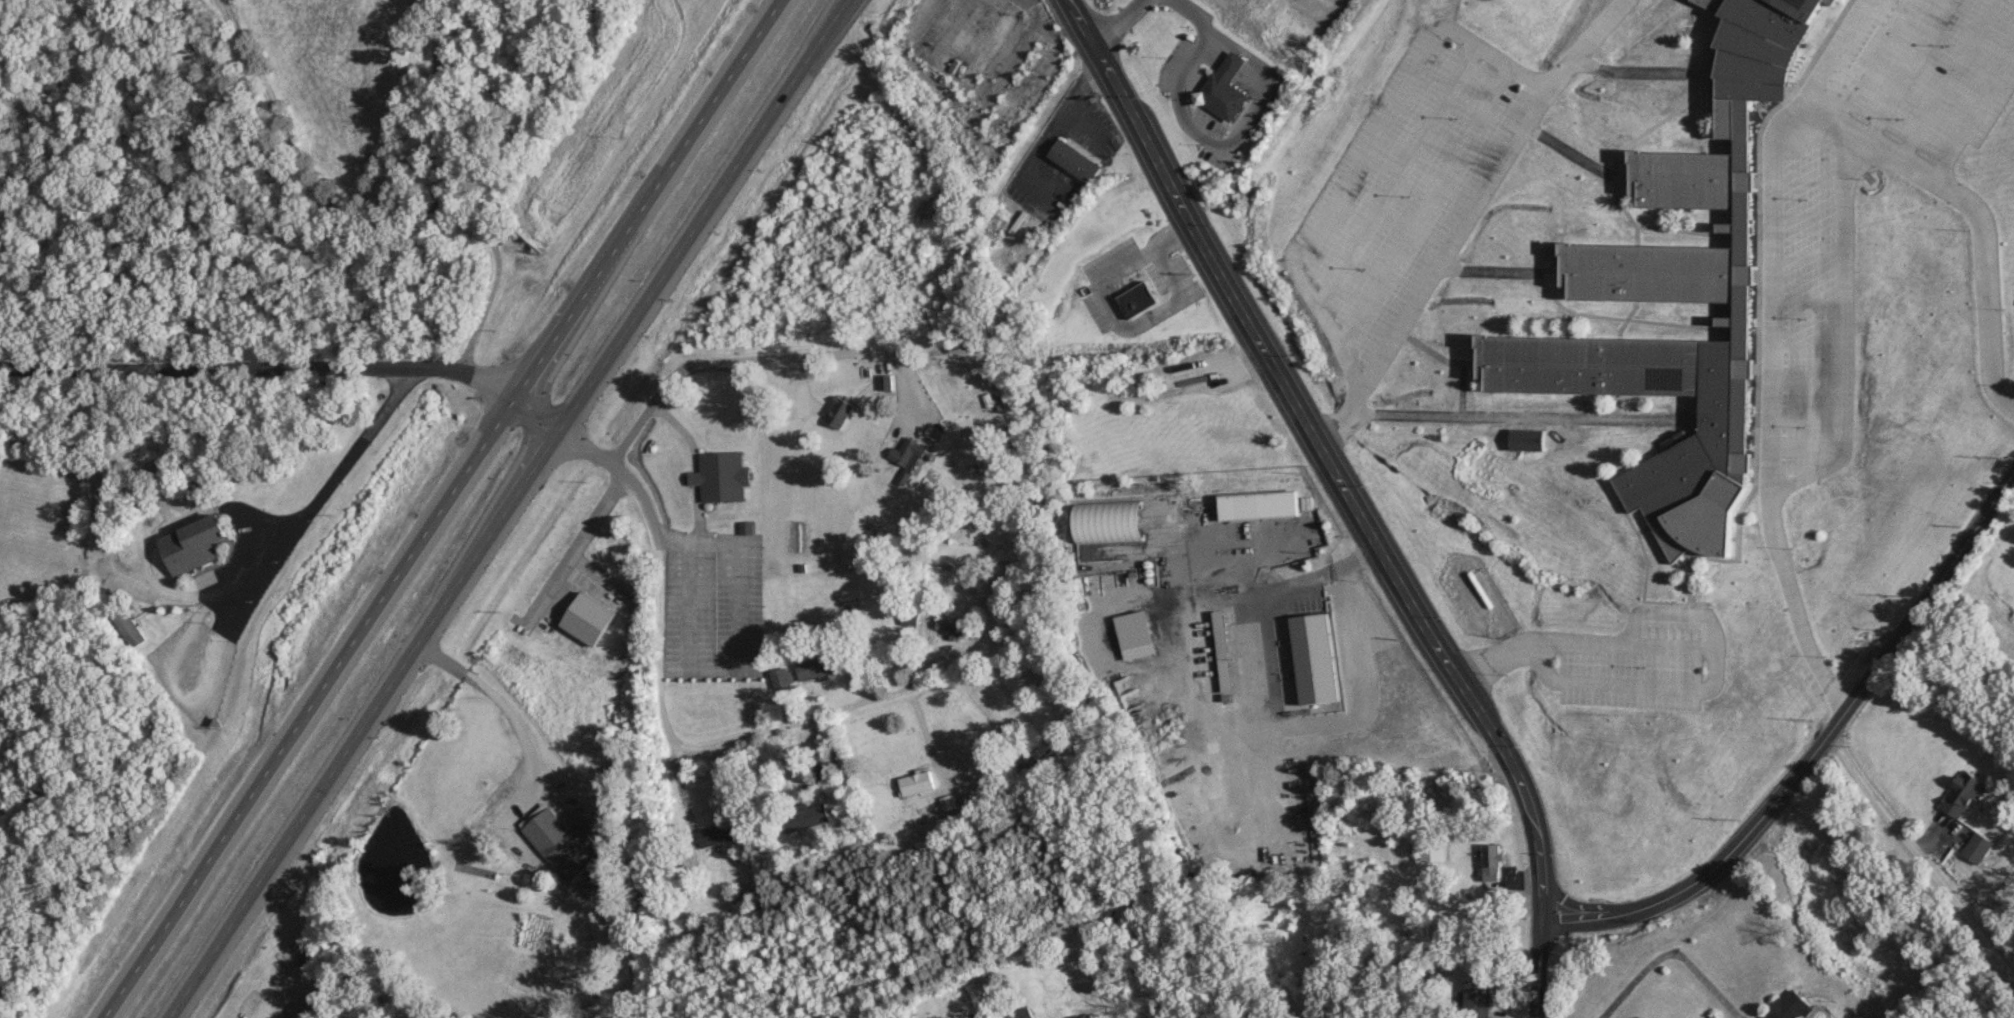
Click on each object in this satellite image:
road: (1194, 15)
road: (1116, 23)
road: (1077, 95)
road: (1974, 112)
road: (1228, 143)
road: (1365, 153)
building: (1078, 160)
road: (1976, 211)
road: (366, 213)
road: (1465, 215)
building: (1674, 296)
road: (1770, 347)
road: (731, 360)
road: (260, 366)
building: (889, 381)
building: (840, 411)
road: (537, 415)
road: (1505, 416)
building: (907, 452)
building: (723, 477)
road: (312, 478)
road: (1352, 495)
building: (1261, 505)
road: (507, 508)
road: (442, 509)
road: (597, 517)
building: (1112, 522)
building: (195, 544)
building: (959, 628)
building: (1137, 635)
building: (1222, 642)
road: (1705, 649)
building: (817, 668)
building: (781, 678)
building: (1285, 685)
road: (497, 700)
road: (700, 746)
road: (1817, 746)
building: (825, 770)
building: (916, 780)
building: (1959, 796)
building: (803, 819)
building: (716, 836)
building: (563, 843)
building: (1974, 848)
building: (1432, 851)
road: (1921, 854)
building: (1491, 863)
road: (1670, 954)
building: (1476, 999)
building: (1785, 1006)
road: (282, 1009)
building: (294, 1011)
building: (1022, 1013)

